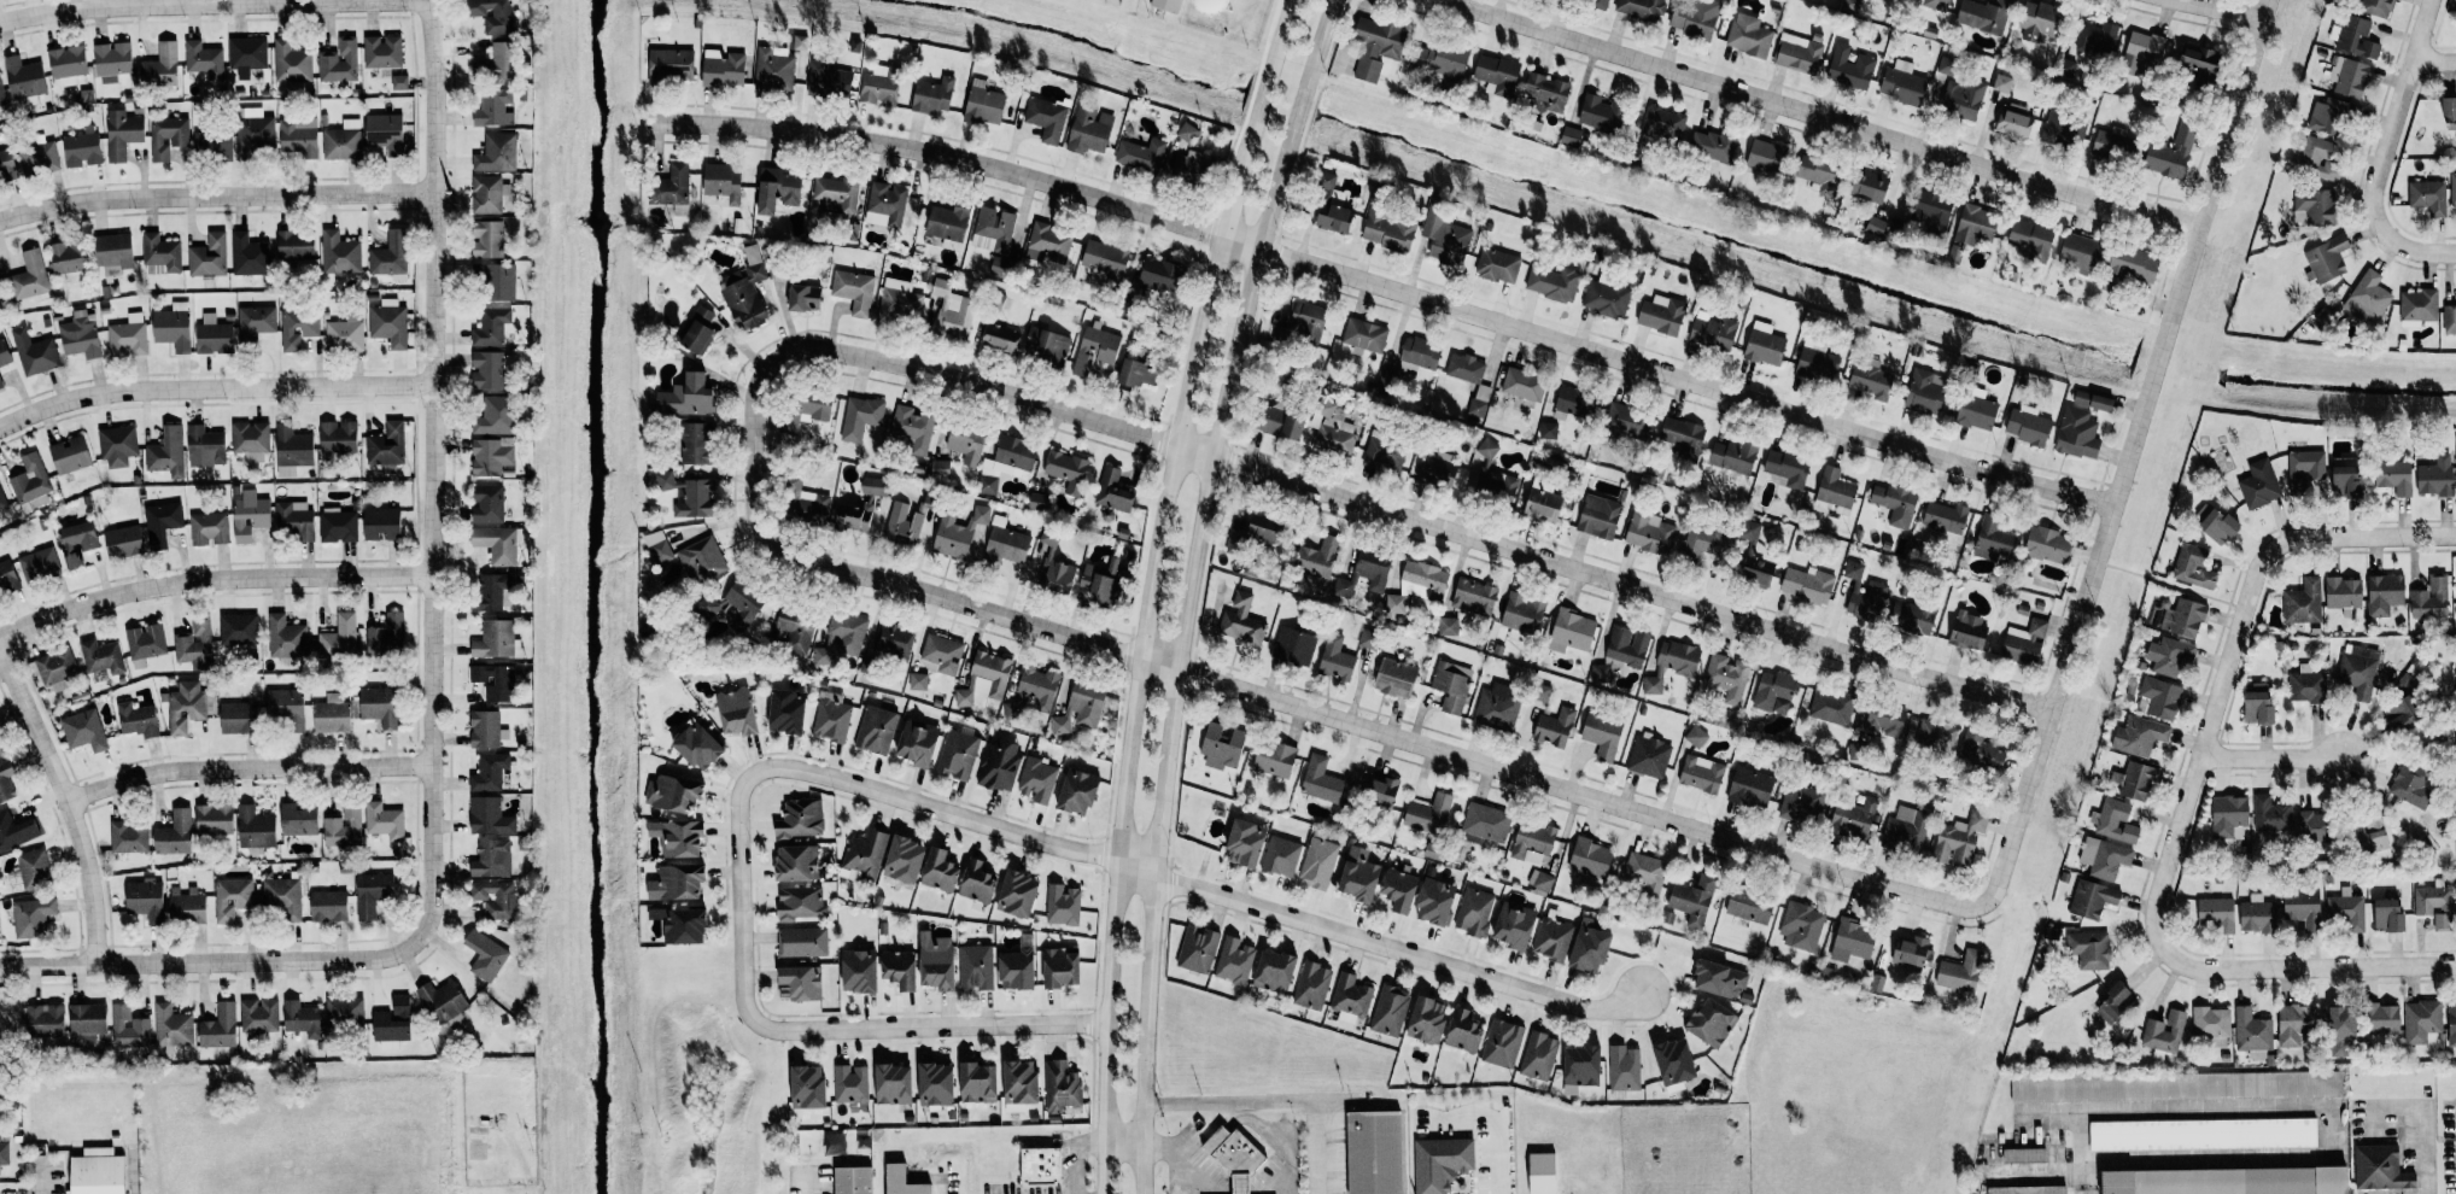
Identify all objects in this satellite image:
building: (1597, 2)
road: (211, 5)
building: (1168, 5)
building: (1850, 5)
building: (1936, 5)
building: (2375, 7)
building: (1641, 8)
road: (2229, 8)
building: (492, 14)
building: (1983, 16)
park: (1185, 18)
building: (1694, 18)
building: (2039, 21)
building: (1748, 35)
building: (2098, 37)
building: (2353, 37)
building: (800, 43)
building: (1376, 47)
building: (382, 52)
building: (2144, 52)
building: (1799, 53)
building: (247, 55)
building: (112, 59)
building: (203, 59)
building: (502, 60)
building: (1438, 60)
building: (339, 62)
building: (291, 63)
building: (66, 64)
building: (2198, 64)
road: (2434, 64)
building: (160, 65)
building: (671, 66)
building: (1947, 66)
building: (1849, 68)
building: (724, 71)
building: (772, 71)
building: (1497, 75)
building: (24, 77)
building: (2350, 77)
building: (828, 81)
building: (1902, 83)
building: (2002, 83)
building: (879, 86)
building: (1546, 90)
building: (1, 95)
building: (932, 95)
building: (1961, 98)
building: (983, 104)
building: (492, 107)
building: (2449, 113)
building: (1602, 115)
road: (1818, 117)
building: (2329, 117)
building: (1046, 119)
building: (2013, 121)
building: (1663, 123)
building: (1089, 129)
building: (2063, 129)
building: (253, 133)
building: (385, 133)
building: (1187, 133)
building: (122, 134)
building: (1571, 135)
building: (168, 136)
building: (299, 136)
building: (343, 141)
building: (212, 144)
building: (1714, 146)
building: (2113, 146)
building: (82, 150)
building: (2171, 152)
building: (490, 154)
building: (1141, 154)
road: (2386, 154)
building: (1766, 156)
building: (43, 157)
building: (2315, 159)
building: (7, 164)
building: (1192, 170)
building: (1820, 174)
building: (723, 183)
building: (1869, 186)
building: (2452, 188)
building: (777, 191)
building: (486, 194)
building: (836, 194)
road: (215, 195)
building: (2428, 197)
building: (885, 205)
building: (1328, 206)
building: (2314, 206)
building: (1932, 211)
building: (948, 222)
building: (1875, 226)
building: (1975, 226)
building: (993, 229)
building: (1386, 230)
building: (1444, 236)
building: (489, 239)
building: (2031, 239)
building: (1047, 244)
building: (294, 245)
building: (113, 253)
building: (339, 253)
building: (2080, 253)
building: (160, 254)
building: (390, 254)
building: (209, 256)
building: (250, 256)
building: (66, 257)
building: (1104, 258)
building: (2327, 259)
building: (2133, 263)
building: (1497, 265)
building: (1000, 267)
building: (1162, 274)
building: (29, 276)
building: (497, 282)
building: (1551, 282)
building: (0, 286)
road: (1387, 287)
building: (854, 291)
building: (745, 292)
building: (2367, 297)
building: (805, 298)
building: (1606, 299)
building: (900, 302)
building: (2417, 308)
building: (952, 310)
building: (1661, 315)
building: (2449, 320)
building: (1306, 321)
building: (255, 322)
building: (388, 323)
building: (172, 326)
building: (298, 326)
building: (491, 327)
building: (697, 330)
building: (1714, 332)
building: (345, 334)
building: (1281, 334)
building: (81, 335)
building: (214, 335)
building: (1364, 335)
building: (128, 336)
building: (999, 338)
building: (1764, 345)
building: (1047, 346)
building: (1095, 350)
building: (34, 352)
building: (1420, 352)
building: (4, 353)
building: (1817, 364)
building: (1464, 368)
building: (487, 370)
building: (1136, 373)
building: (1870, 382)
building: (1522, 385)
building: (1, 386)
road: (211, 388)
building: (1923, 393)
building: (688, 397)
building: (1479, 400)
building: (1574, 403)
building: (2100, 403)
building: (1976, 409)
building: (805, 411)
building: (495, 416)
building: (860, 417)
building: (1280, 421)
building: (1627, 423)
building: (2027, 426)
building: (913, 428)
building: (1333, 429)
building: (1548, 431)
building: (2077, 434)
building: (1683, 437)
building: (338, 438)
building: (251, 440)
building: (696, 443)
building: (966, 443)
building: (117, 445)
building: (386, 445)
building: (205, 446)
building: (1486, 447)
building: (292, 450)
building: (166, 452)
road: (2124, 452)
building: (1384, 453)
building: (70, 455)
building: (491, 456)
building: (1731, 456)
building: (1007, 461)
building: (940, 468)
building: (1434, 468)
building: (1788, 468)
building: (2304, 468)
building: (1066, 470)
building: (2394, 476)
building: (2435, 476)
building: (2345, 478)
building: (30, 479)
building: (665, 481)
building: (2258, 485)
building: (873, 486)
building: (1495, 486)
building: (1835, 488)
road: (1318, 490)
building: (1113, 491)
building: (696, 499)
building: (2, 501)
building: (1037, 502)
building: (487, 504)
building: (805, 504)
building: (1542, 504)
building: (1894, 504)
building: (250, 515)
building: (1598, 516)
building: (853, 517)
building: (1945, 517)
building: (294, 519)
building: (162, 523)
building: (381, 523)
building: (902, 525)
building: (338, 526)
building: (2217, 526)
building: (209, 528)
building: (958, 533)
building: (1649, 533)
building: (1256, 534)
road: (2366, 537)
building: (1048, 538)
building: (1993, 539)
building: (1704, 540)
building: (123, 542)
building: (77, 543)
building: (496, 544)
building: (1006, 545)
building: (2048, 545)
building: (657, 546)
building: (1317, 557)
building: (1753, 558)
building: (702, 561)
building: (39, 564)
building: (2193, 567)
building: (1364, 572)
building: (1057, 575)
building: (7, 576)
road: (210, 578)
building: (1425, 579)
building: (1103, 583)
building: (1807, 585)
road: (1150, 586)
road: (1189, 589)
building: (2343, 592)
building: (489, 593)
building: (1864, 593)
building: (2384, 593)
building: (1474, 597)
building: (2429, 598)
building: (2303, 602)
building: (1396, 604)
building: (743, 605)
building: (1522, 613)
building: (2183, 618)
building: (1911, 619)
building: (1240, 620)
building: (1448, 626)
building: (238, 628)
building: (795, 630)
building: (1571, 631)
building: (1969, 632)
building: (387, 636)
building: (286, 637)
building: (841, 637)
building: (339, 638)
building: (495, 639)
building: (1368, 639)
building: (146, 640)
building: (2024, 643)
building: (195, 644)
road: (2236, 644)
building: (1626, 645)
building: (1293, 646)
building: (942, 654)
building: (2169, 656)
building: (101, 657)
building: (1335, 660)
building: (1672, 665)
building: (57, 669)
building: (992, 672)
building: (1600, 673)
building: (1727, 677)
building: (1394, 678)
road: (428, 680)
building: (495, 681)
building: (918, 681)
building: (2305, 685)
building: (1037, 686)
building: (1451, 686)
building: (1542, 692)
building: (1774, 692)
building: (963, 697)
building: (2158, 698)
building: (1086, 703)
building: (2257, 704)
building: (379, 706)
building: (1497, 706)
building: (186, 707)
building: (286, 707)
building: (1831, 707)
building: (736, 712)
building: (786, 712)
building: (332, 714)
building: (2399, 714)
building: (238, 718)
building: (831, 718)
building: (138, 720)
building: (1884, 720)
building: (1060, 725)
building: (1554, 727)
road: (1368, 728)
building: (486, 730)
building: (876, 730)
building: (83, 731)
building: (1935, 734)
building: (1602, 736)
building: (2139, 736)
building: (1696, 737)
building: (917, 743)
building: (698, 747)
building: (1221, 747)
building: (1, 750)
building: (1854, 750)
building: (1980, 751)
road: (2273, 754)
building: (957, 755)
building: (1649, 756)
building: (1271, 757)
building: (999, 765)
road: (242, 768)
building: (489, 772)
building: (1701, 774)
building: (1036, 780)
building: (2134, 780)
building: (6, 782)
building: (1322, 782)
building: (2410, 785)
building: (1749, 788)
building: (1077, 792)
building: (1381, 792)
building: (672, 794)
building: (1802, 802)
road: (64, 804)
building: (1427, 814)
building: (490, 817)
building: (2229, 817)
building: (2270, 817)
building: (214, 819)
building: (298, 819)
building: (800, 819)
building: (1853, 819)
building: (384, 820)
building: (2115, 821)
building: (1485, 824)
building: (343, 825)
building: (2314, 827)
building: (255, 830)
building: (1905, 830)
building: (16, 831)
building: (175, 833)
building: (2370, 836)
building: (129, 837)
building: (678, 838)
building: (1959, 839)
building: (1245, 843)
building: (1532, 843)
building: (865, 854)
building: (1281, 856)
building: (489, 858)
building: (1590, 858)
building: (2104, 858)
building: (904, 860)
building: (796, 862)
building: (1317, 864)
road: (739, 866)
building: (34, 870)
building: (940, 871)
building: (1645, 873)
building: (1358, 879)
building: (1540, 880)
building: (680, 882)
building: (977, 883)
building: (1398, 890)
building: (372, 892)
building: (1017, 894)
building: (282, 896)
building: (232, 899)
building: (2092, 899)
building: (145, 900)
building: (496, 900)
building: (1692, 900)
building: (800, 902)
building: (1434, 902)
building: (1062, 905)
building: (328, 906)
building: (1749, 906)
building: (2434, 906)
building: (187, 908)
building: (2303, 908)
building: (2346, 911)
building: (1474, 912)
building: (2216, 914)
building: (2387, 914)
building: (2257, 915)
building: (31, 917)
building: (682, 925)
building: (1514, 925)
building: (1801, 927)
building: (1551, 938)
building: (1852, 941)
building: (802, 942)
building: (1589, 948)
building: (1198, 949)
building: (2088, 949)
building: (1911, 952)
road: (1399, 953)
building: (485, 955)
building: (936, 961)
building: (1234, 961)
building: (976, 967)
building: (1060, 967)
building: (899, 970)
building: (1016, 970)
road: (2204, 970)
building: (859, 971)
building: (1274, 971)
building: (1960, 972)
building: (1719, 979)
building: (800, 983)
building: (1312, 985)
building: (442, 1001)
building: (2115, 1003)
building: (1390, 1011)
building: (344, 1012)
building: (258, 1016)
building: (45, 1019)
building: (302, 1019)
building: (2381, 1019)
building: (1427, 1020)
building: (2421, 1020)
building: (87, 1023)
building: (1711, 1023)
building: (2451, 1023)
building: (392, 1024)
building: (2294, 1024)
building: (2211, 1025)
building: (171, 1026)
building: (128, 1028)
building: (218, 1028)
building: (1463, 1031)
building: (2252, 1034)
building: (2164, 1035)
building: (1502, 1043)
building: (1538, 1057)
building: (1673, 1064)
building: (1580, 1067)
building: (1624, 1069)
building: (1019, 1082)
building: (978, 1083)
building: (893, 1084)
building: (935, 1084)
building: (807, 1087)
building: (850, 1087)
building: (2176, 1087)
building: (1060, 1088)
road: (1279, 1100)
road: (2425, 1123)
road: (1492, 1124)
road: (2081, 1125)
building: (2201, 1134)
building: (834, 1143)
road: (1168, 1143)
building: (4, 1152)
building: (1374, 1153)
building: (2024, 1155)
building: (1234, 1157)
road: (1076, 1158)
road: (520, 1163)
building: (1440, 1163)
building: (1040, 1165)
building: (2379, 1169)
building: (98, 1172)
building: (1542, 1173)
road: (47, 1181)
building: (853, 1181)
building: (901, 1181)
building: (2227, 1181)
road: (1105, 1190)
building: (2027, 1190)

